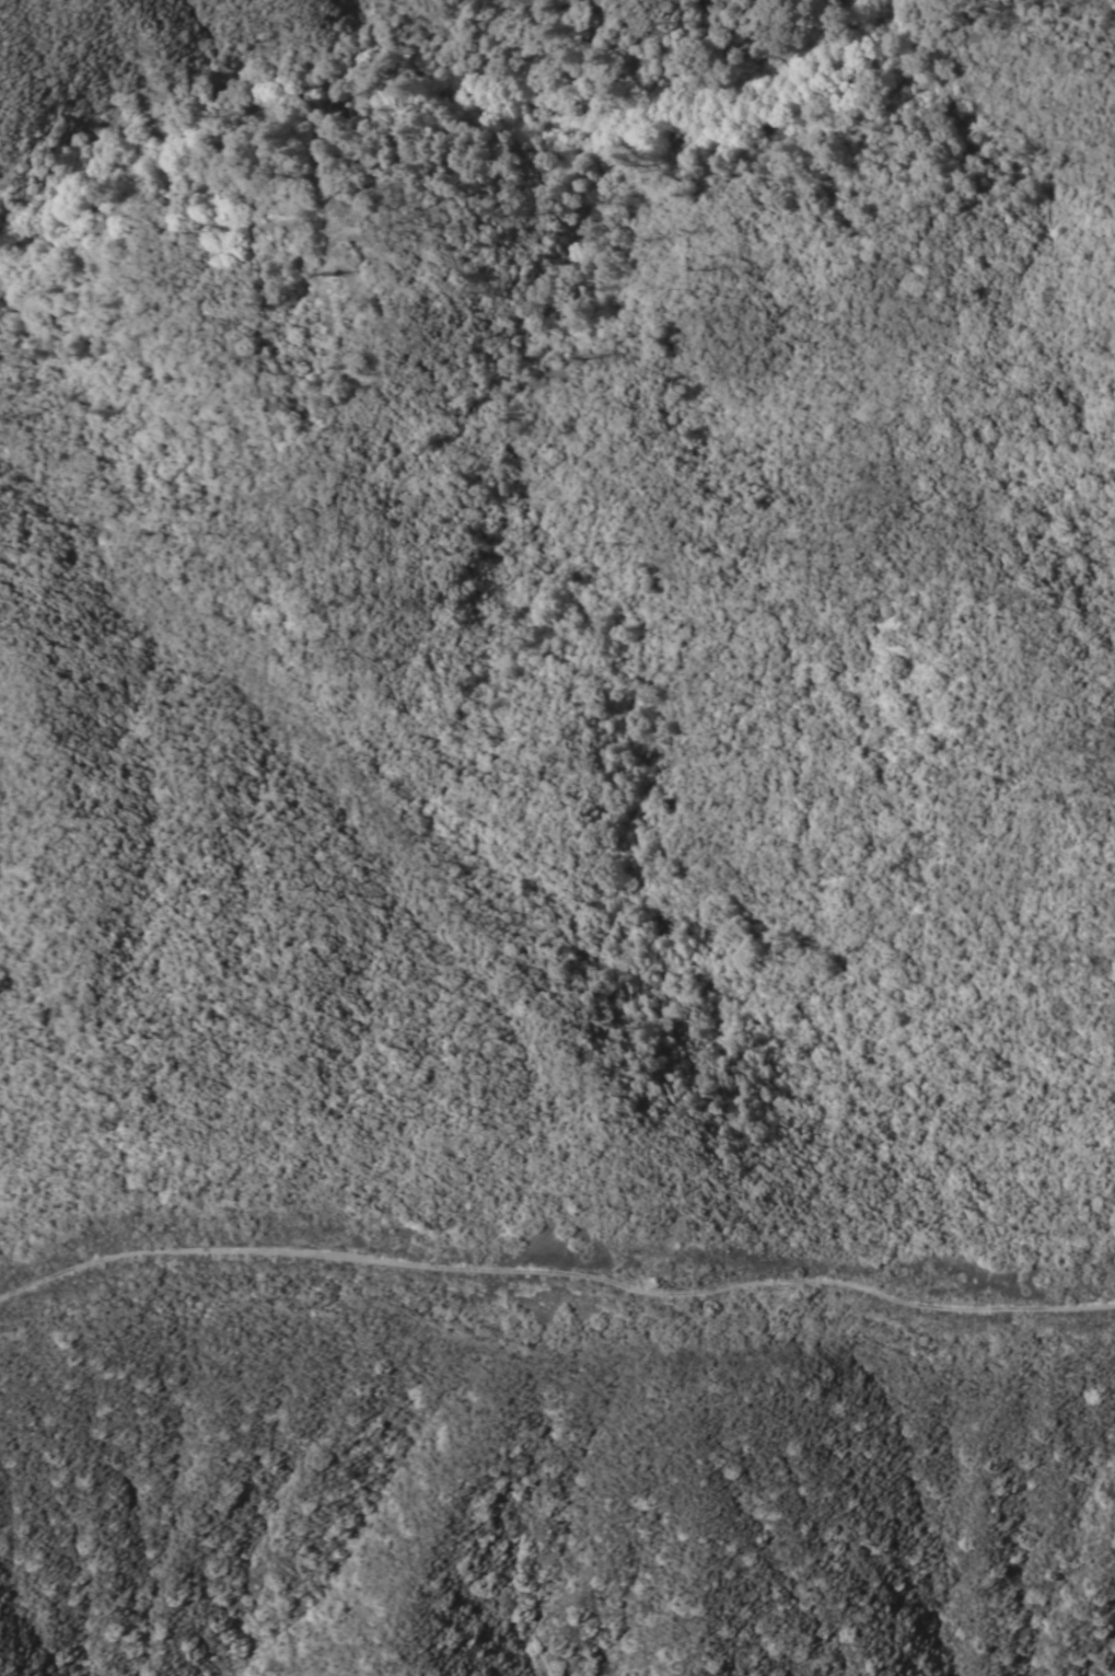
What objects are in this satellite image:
road: (557, 1280)

